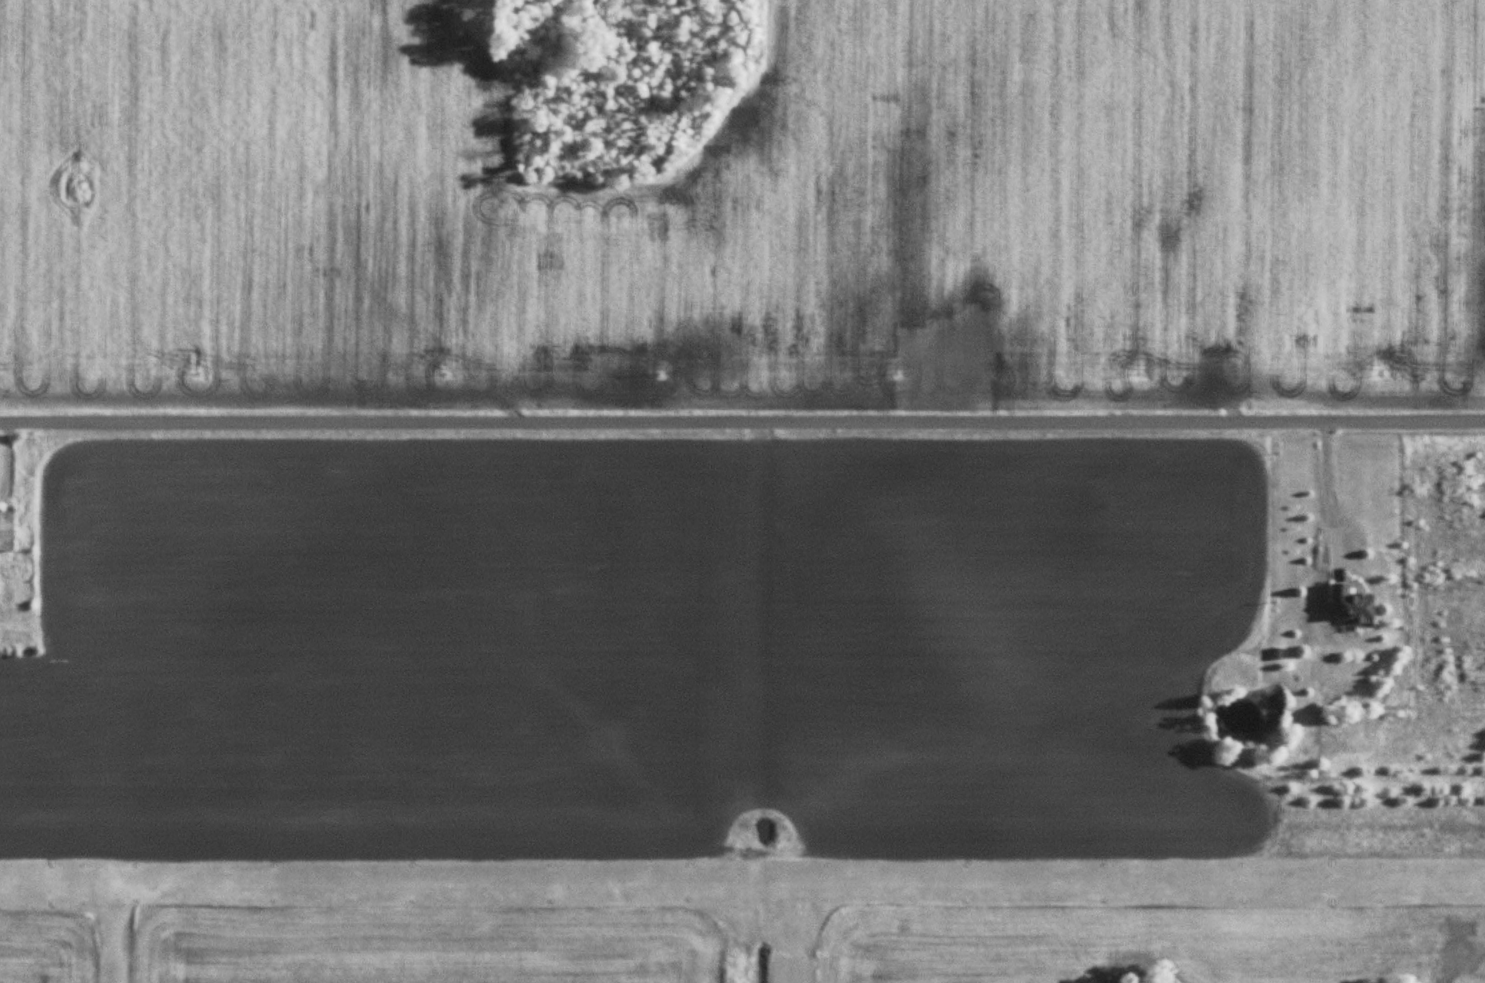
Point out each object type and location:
road: (742, 426)
road: (9, 461)
road: (1328, 497)
building: (7, 530)
building: (1354, 604)
airport runway: (742, 881)
airport taxiway: (784, 932)
airport taxiway: (113, 933)

